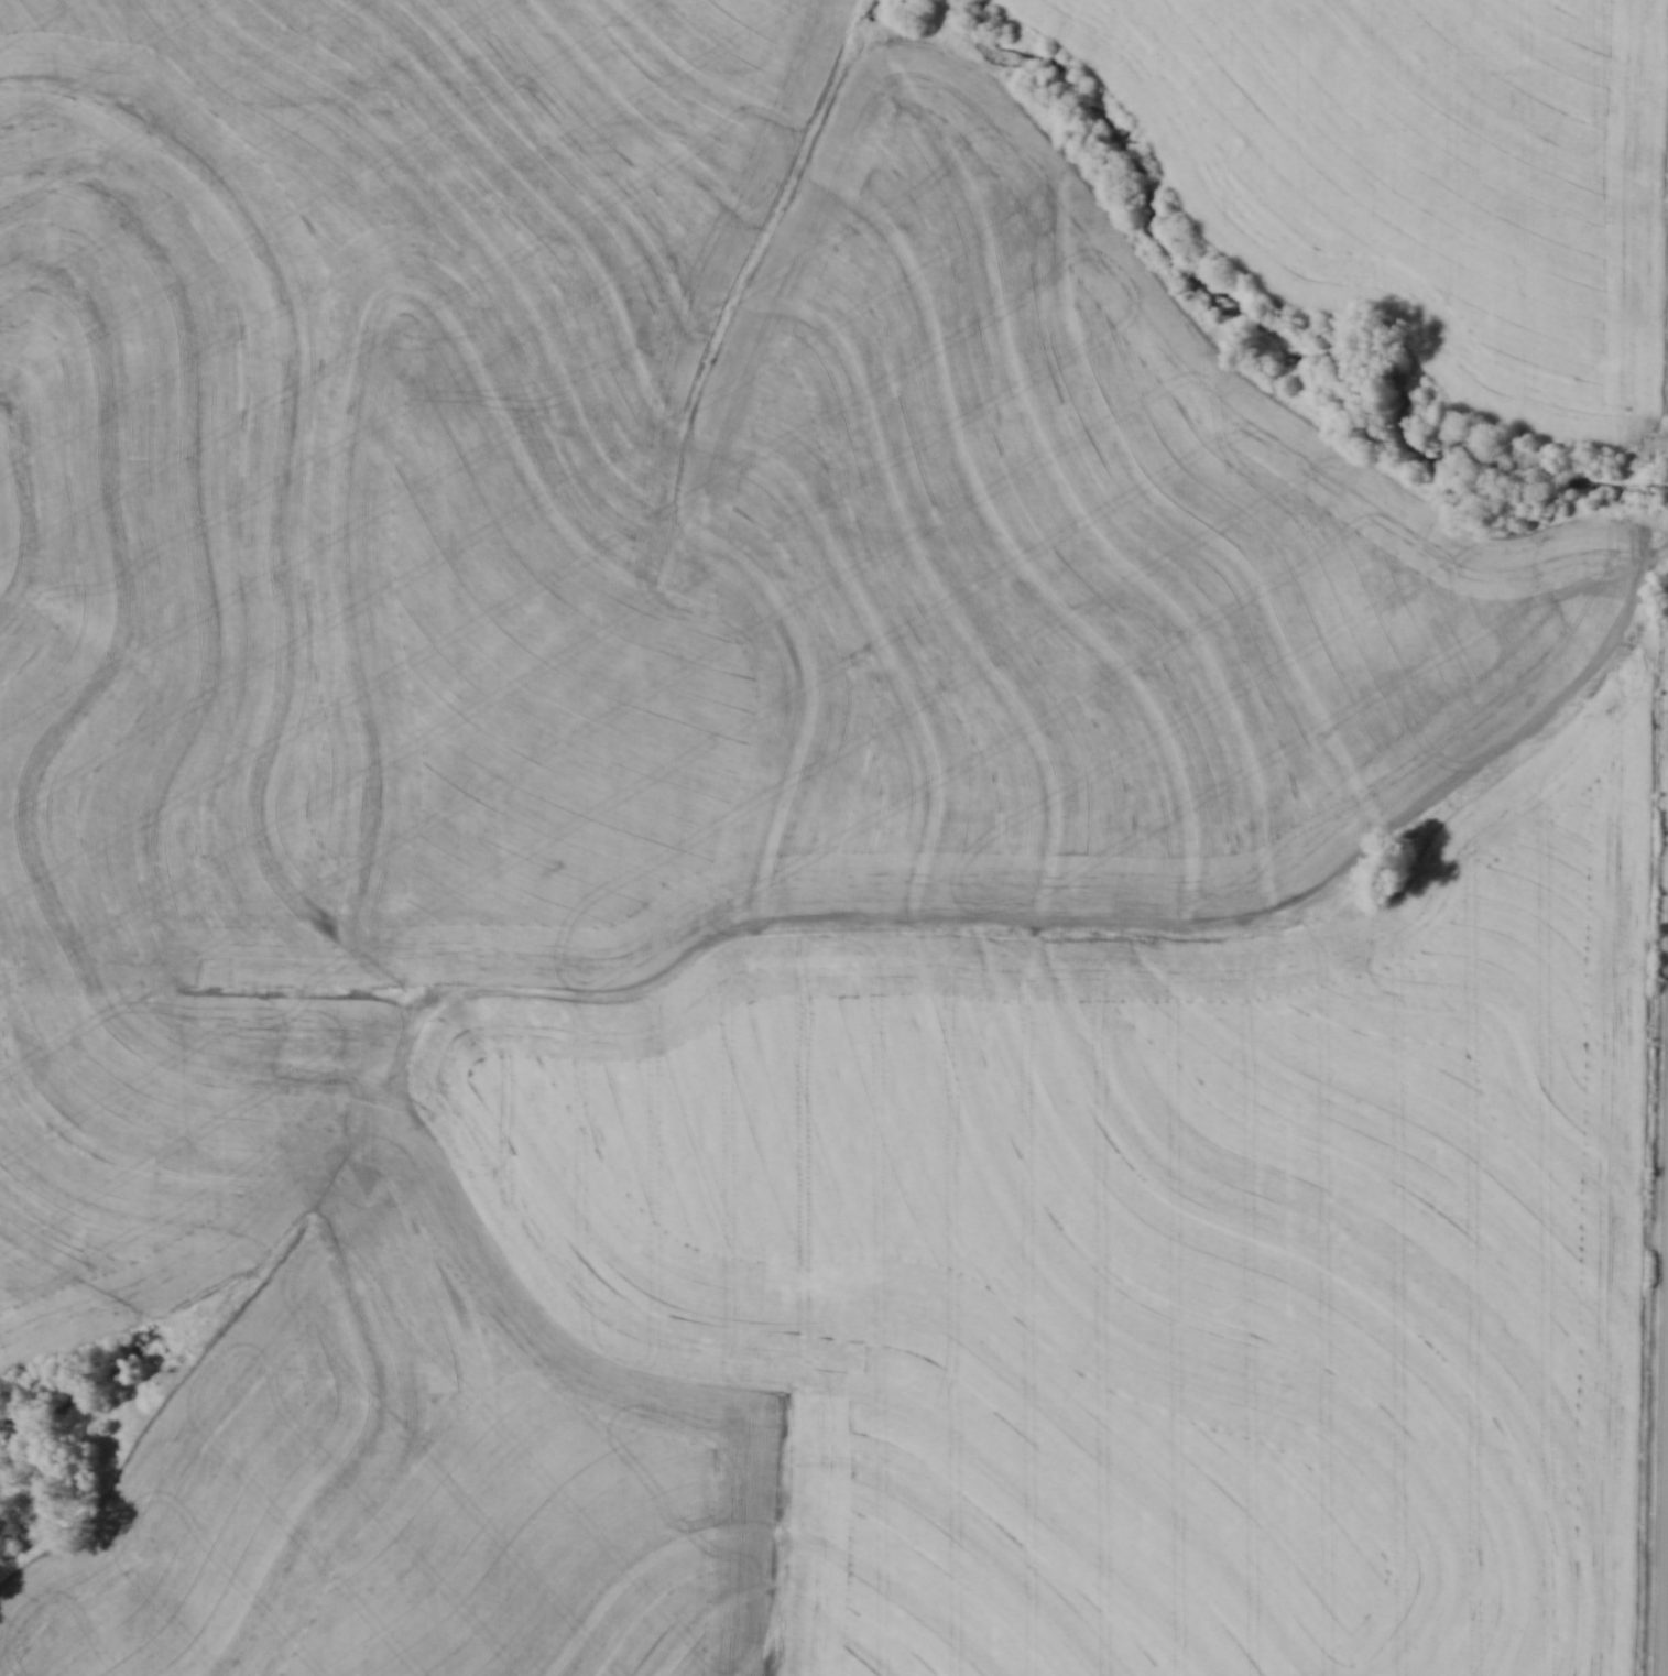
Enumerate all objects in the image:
road: (1667, 1667)

